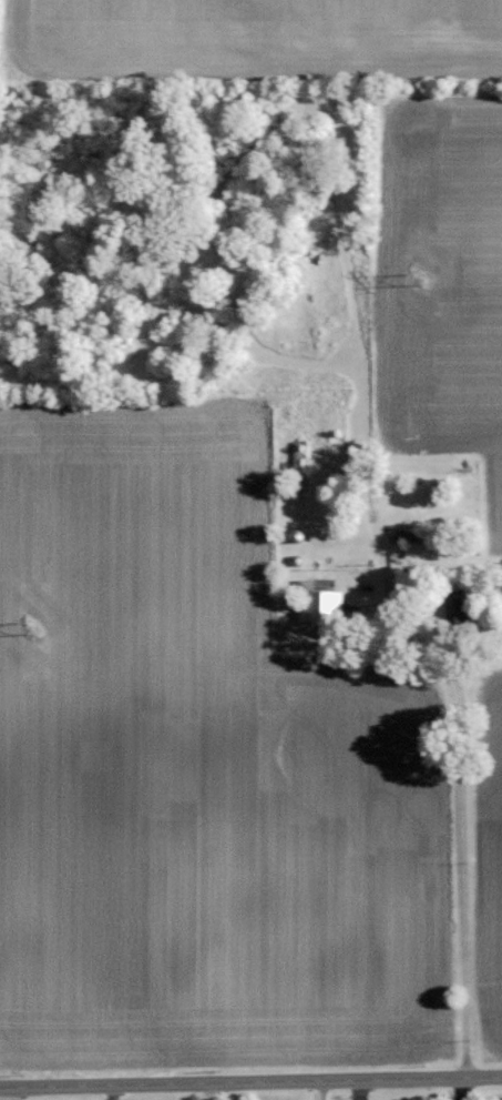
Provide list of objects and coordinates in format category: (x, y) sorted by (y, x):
power tower: (420, 279)
building: (324, 602)
building: (461, 607)
power tower: (33, 627)
road: (465, 885)
road: (250, 1083)

